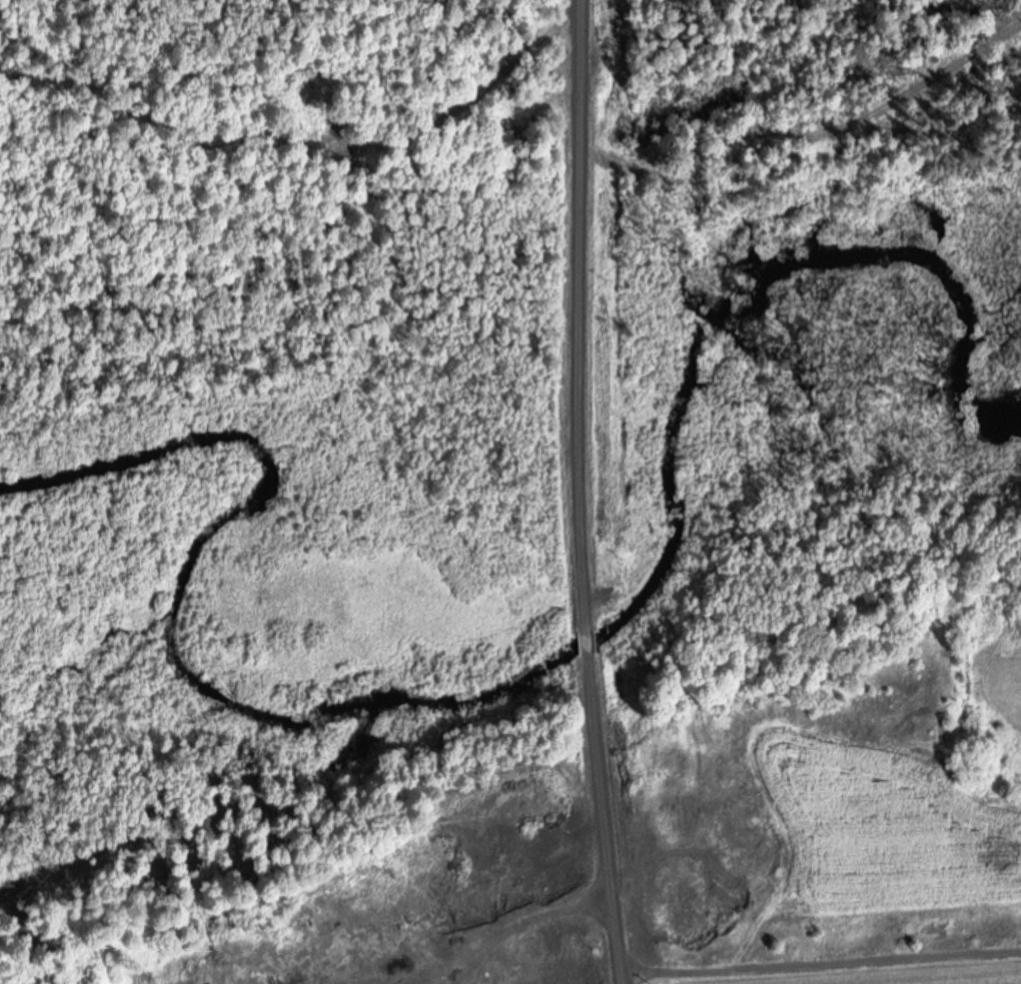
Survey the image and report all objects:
road: (581, 493)
road: (822, 967)

